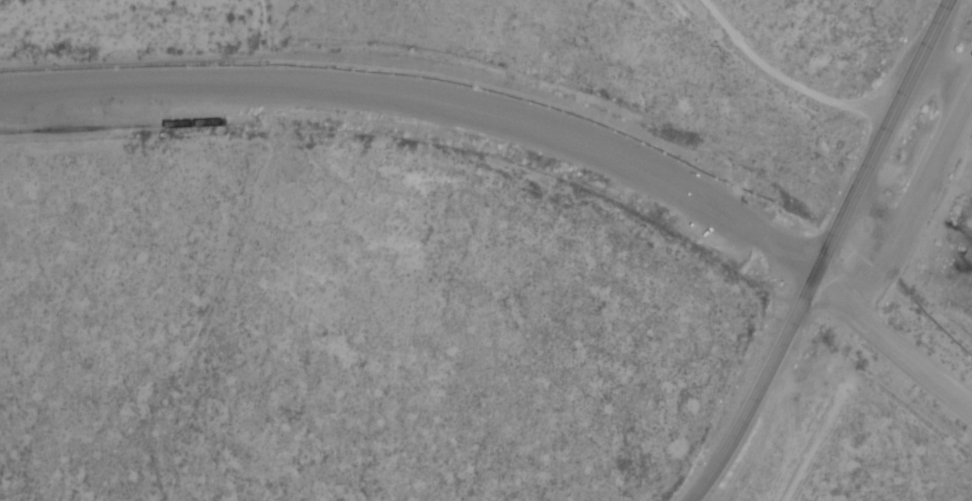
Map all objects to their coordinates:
road: (389, 103)
railway: (125, 126)
road: (886, 142)
road: (897, 336)
road: (763, 395)

